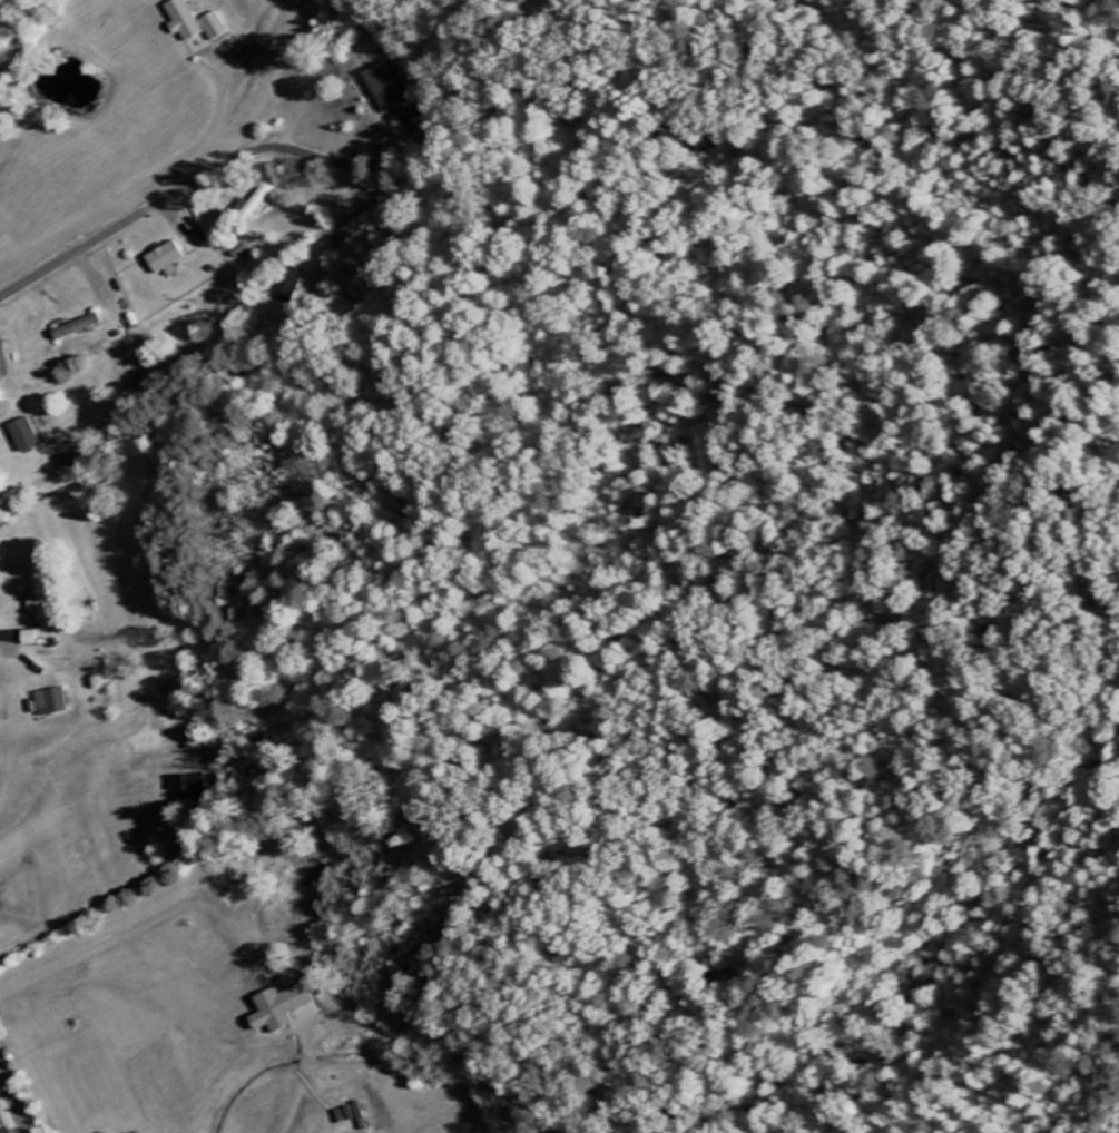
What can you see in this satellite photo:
building: (193, 22)
building: (394, 87)
road: (169, 171)
road: (203, 177)
building: (254, 204)
building: (166, 259)
building: (293, 285)
building: (84, 328)
building: (32, 436)
road: (134, 555)
building: (42, 599)
building: (32, 639)
building: (57, 702)
building: (195, 789)
building: (286, 1008)
road: (13, 1098)
road: (993, 1131)

